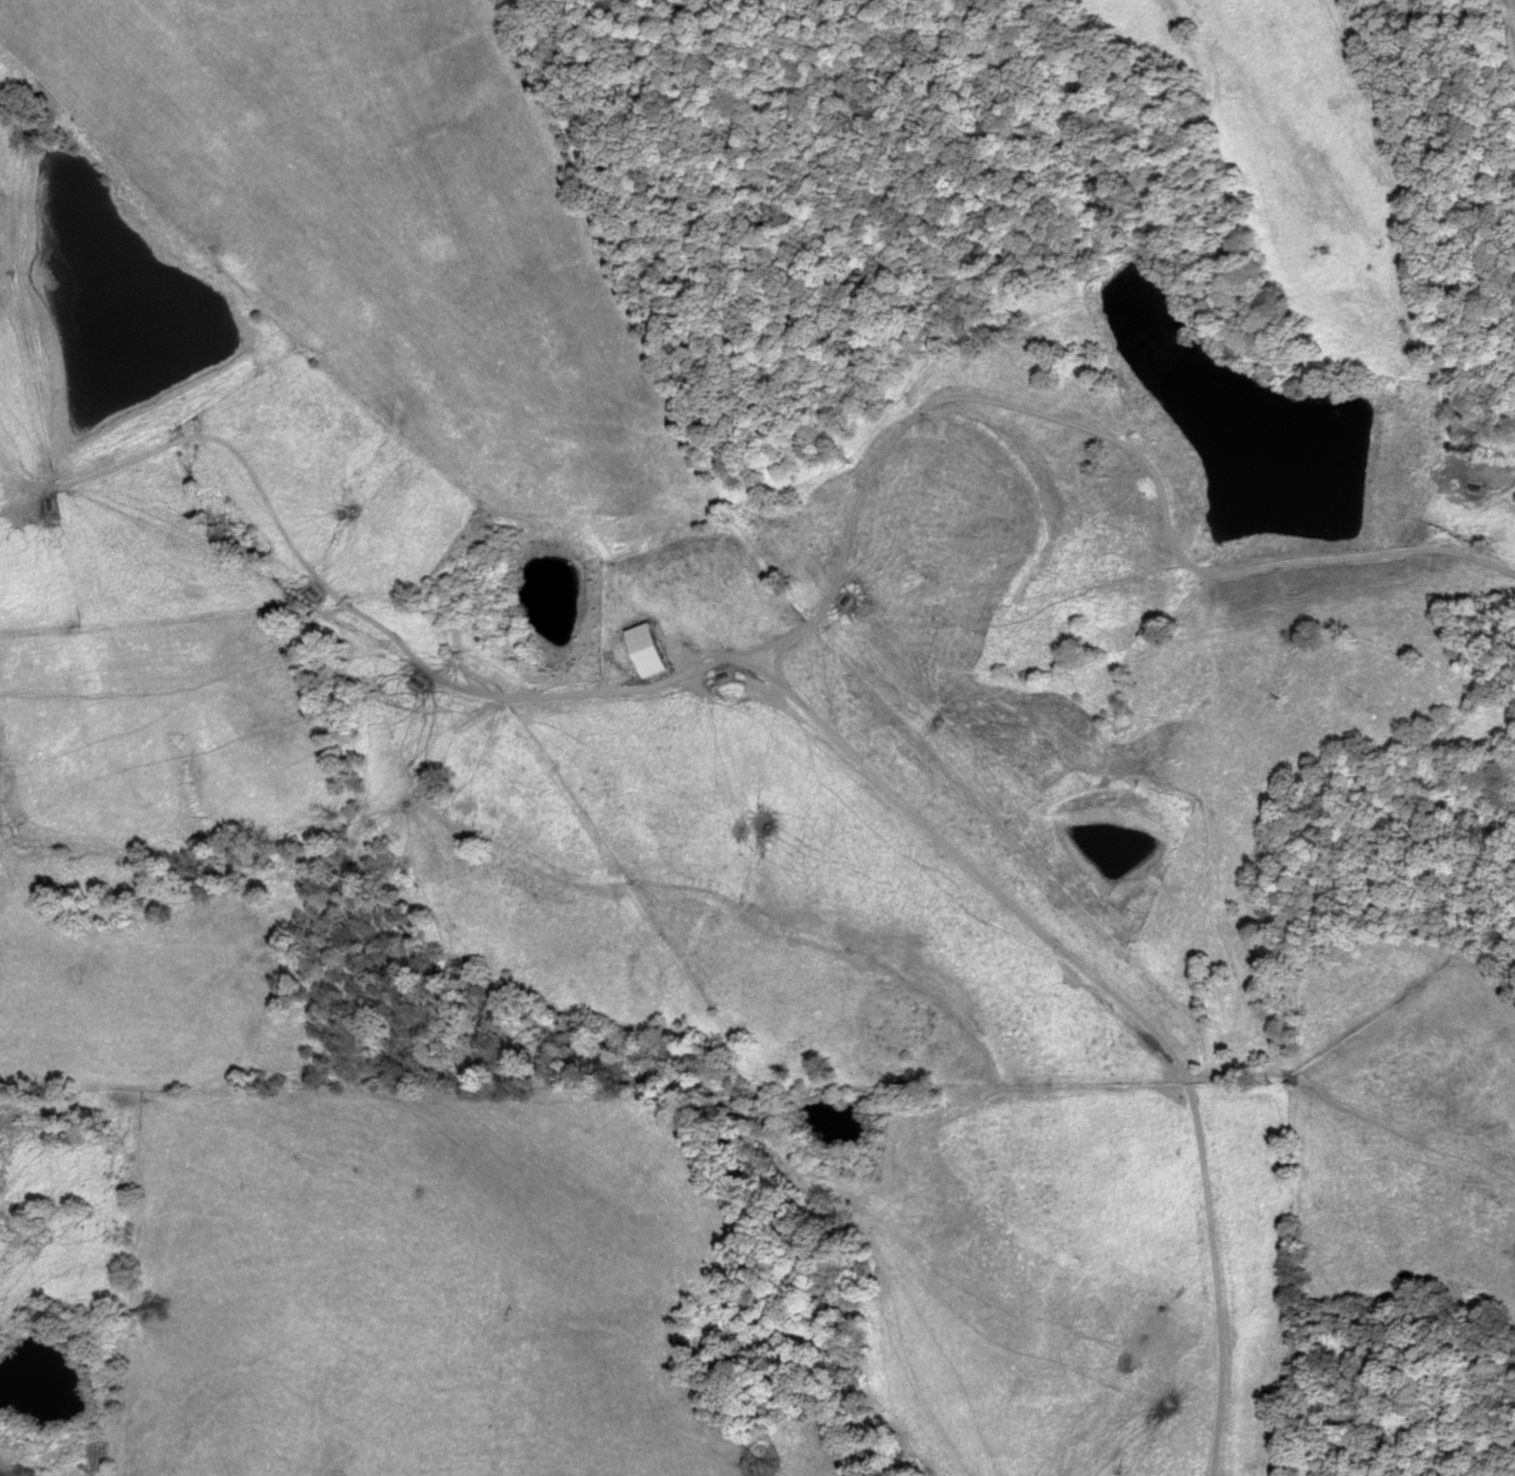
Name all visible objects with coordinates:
road: (1478, 480)
building: (1464, 521)
building: (647, 648)
building: (1468, 700)

